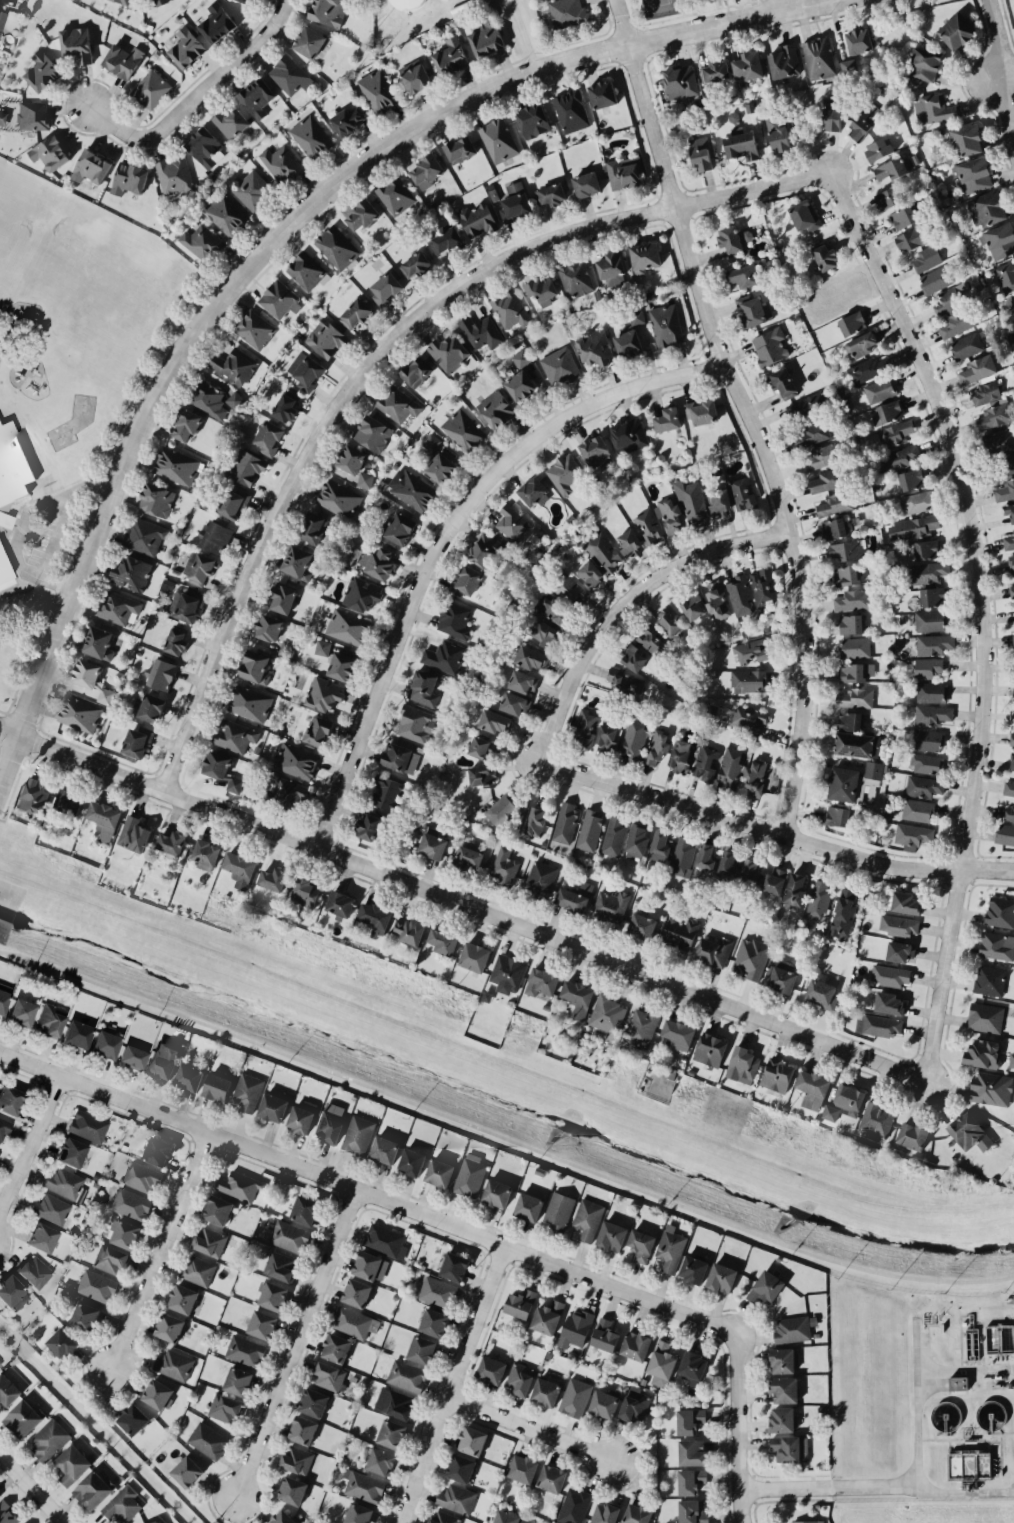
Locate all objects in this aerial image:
building: (10, 1)
building: (123, 1)
building: (244, 1)
building: (159, 2)
building: (407, 4)
road: (782, 4)
building: (329, 11)
building: (566, 12)
building: (2, 19)
building: (216, 22)
road: (619, 22)
building: (956, 30)
road: (520, 34)
building: (486, 36)
building: (859, 40)
building: (309, 41)
building: (77, 43)
building: (186, 47)
building: (450, 56)
building: (819, 58)
building: (122, 60)
building: (784, 61)
building: (924, 64)
building: (748, 65)
building: (848, 66)
building: (715, 70)
building: (42, 71)
road: (1008, 71)
building: (289, 75)
building: (415, 75)
road: (1002, 76)
building: (680, 81)
building: (150, 88)
building: (378, 90)
building: (603, 93)
road: (194, 97)
building: (256, 97)
building: (933, 108)
building: (571, 110)
building: (831, 114)
building: (33, 115)
building: (3, 118)
building: (864, 119)
building: (533, 120)
building: (347, 121)
building: (230, 122)
building: (777, 131)
building: (311, 136)
building: (498, 139)
building: (966, 139)
building: (741, 146)
building: (205, 147)
building: (460, 149)
building: (878, 149)
building: (50, 152)
building: (701, 153)
building: (281, 163)
building: (91, 167)
building: (891, 168)
building: (426, 170)
building: (624, 172)
building: (174, 174)
building: (973, 174)
building: (129, 178)
building: (586, 184)
building: (514, 186)
building: (253, 190)
building: (552, 193)
building: (395, 194)
building: (890, 196)
building: (515, 206)
building: (990, 207)
building: (225, 213)
building: (361, 215)
building: (804, 215)
building: (905, 215)
building: (476, 218)
road: (290, 219)
building: (747, 235)
building: (912, 238)
building: (731, 239)
building: (446, 240)
building: (999, 240)
building: (202, 242)
building: (337, 247)
building: (645, 256)
building: (825, 256)
building: (926, 258)
building: (415, 264)
building: (611, 268)
building: (306, 271)
building: (745, 275)
building: (1006, 275)
building: (576, 278)
building: (937, 278)
building: (386, 287)
building: (542, 289)
building: (949, 298)
building: (279, 299)
building: (1010, 303)
building: (510, 309)
building: (753, 310)
building: (355, 313)
building: (637, 316)
building: (958, 322)
building: (852, 323)
building: (666, 325)
building: (254, 328)
building: (480, 331)
building: (1013, 334)
building: (326, 338)
building: (628, 343)
building: (862, 344)
building: (966, 345)
building: (770, 346)
building: (595, 347)
building: (449, 352)
road: (378, 356)
building: (521, 358)
building: (235, 365)
building: (559, 365)
building: (869, 368)
building: (977, 368)
building: (306, 369)
building: (417, 371)
building: (783, 382)
building: (520, 385)
building: (881, 389)
building: (986, 390)
building: (208, 398)
building: (235, 399)
building: (398, 404)
building: (807, 404)
building: (285, 407)
building: (495, 408)
building: (702, 411)
building: (886, 412)
building: (995, 414)
building: (667, 419)
building: (186, 424)
building: (463, 430)
road: (762, 430)
building: (895, 432)
building: (373, 433)
building: (811, 434)
building: (629, 435)
building: (269, 437)
building: (998, 439)
building: (431, 441)
building: (597, 452)
building: (821, 456)
building: (900, 457)
building: (1007, 463)
building: (355, 464)
building: (176, 465)
building: (439, 466)
building: (11, 468)
building: (246, 468)
building: (565, 473)
building: (911, 479)
building: (828, 480)
building: (413, 490)
building: (534, 491)
building: (1005, 491)
building: (742, 493)
building: (339, 498)
building: (156, 499)
building: (691, 500)
building: (719, 501)
building: (917, 501)
building: (232, 502)
building: (835, 503)
building: (1008, 510)
building: (668, 514)
building: (511, 521)
building: (649, 525)
building: (835, 527)
building: (912, 527)
road: (56, 528)
building: (314, 528)
building: (398, 528)
road: (449, 530)
building: (145, 536)
building: (214, 536)
building: (1008, 540)
building: (629, 543)
building: (485, 549)
building: (926, 549)
building: (846, 550)
building: (604, 551)
building: (297, 560)
building: (378, 561)
building: (1011, 562)
building: (198, 567)
building: (4, 569)
building: (928, 571)
building: (132, 572)
building: (591, 574)
building: (846, 575)
building: (466, 580)
building: (762, 585)
building: (571, 589)
building: (1012, 590)
building: (361, 593)
road: (35, 594)
building: (740, 594)
building: (933, 596)
building: (283, 598)
road: (628, 598)
building: (853, 599)
building: (717, 600)
building: (186, 605)
road: (985, 606)
building: (118, 607)
building: (693, 607)
building: (553, 610)
building: (454, 619)
building: (929, 620)
building: (669, 621)
building: (851, 623)
building: (346, 626)
building: (269, 627)
building: (543, 634)
building: (652, 639)
building: (1013, 639)
building: (177, 641)
building: (98, 642)
building: (934, 643)
building: (322, 647)
building: (855, 647)
building: (752, 650)
building: (444, 656)
building: (531, 657)
building: (632, 657)
building: (255, 666)
building: (342, 666)
building: (927, 667)
building: (856, 671)
building: (162, 673)
building: (91, 678)
building: (750, 679)
building: (622, 680)
building: (523, 681)
building: (424, 687)
building: (1013, 689)
building: (931, 691)
building: (324, 693)
building: (854, 696)
building: (250, 702)
building: (515, 703)
building: (152, 707)
building: (79, 713)
building: (934, 714)
building: (749, 718)
building: (849, 720)
building: (496, 721)
building: (416, 724)
building: (585, 728)
building: (318, 730)
building: (235, 735)
building: (608, 736)
building: (634, 738)
building: (1012, 738)
building: (928, 739)
building: (137, 741)
building: (857, 744)
building: (656, 746)
building: (483, 747)
building: (680, 755)
building: (400, 757)
road: (11, 759)
building: (296, 760)
building: (1012, 761)
building: (705, 762)
building: (927, 763)
building: (217, 764)
building: (730, 766)
building: (874, 769)
building: (481, 775)
building: (755, 777)
building: (235, 784)
building: (924, 786)
building: (1008, 788)
building: (285, 790)
building: (388, 793)
building: (34, 795)
building: (69, 801)
building: (500, 807)
building: (917, 810)
building: (1009, 813)
building: (838, 815)
building: (104, 818)
building: (536, 820)
building: (566, 822)
building: (369, 826)
building: (589, 829)
road: (775, 829)
building: (134, 834)
building: (1005, 834)
building: (912, 835)
building: (613, 836)
building: (172, 841)
building: (637, 842)
building: (433, 843)
building: (660, 845)
building: (206, 854)
building: (682, 856)
building: (706, 856)
building: (468, 857)
building: (504, 866)
building: (239, 868)
building: (750, 872)
building: (540, 877)
building: (274, 878)
building: (774, 881)
building: (795, 890)
building: (305, 892)
building: (574, 896)
road: (461, 900)
building: (819, 900)
building: (340, 903)
building: (906, 903)
building: (610, 905)
building: (1000, 911)
building: (844, 912)
building: (374, 918)
building: (642, 924)
building: (899, 925)
building: (410, 931)
building: (680, 933)
building: (443, 941)
building: (997, 945)
building: (714, 950)
building: (901, 950)
building: (474, 956)
building: (751, 957)
building: (508, 973)
building: (783, 975)
building: (891, 975)
building: (990, 980)
building: (541, 981)
building: (821, 993)
building: (578, 996)
building: (4, 997)
building: (889, 1003)
building: (22, 1012)
building: (607, 1013)
building: (985, 1017)
building: (51, 1019)
building: (879, 1024)
building: (641, 1027)
building: (678, 1033)
building: (77, 1034)
building: (106, 1043)
building: (710, 1049)
building: (983, 1053)
building: (132, 1057)
building: (1011, 1059)
building: (163, 1060)
building: (742, 1064)
building: (777, 1075)
building: (189, 1076)
building: (217, 1086)
building: (812, 1088)
building: (991, 1088)
building: (247, 1091)
building: (10, 1100)
building: (844, 1102)
river: (503, 1103)
building: (273, 1107)
building: (302, 1116)
building: (876, 1120)
building: (330, 1124)
building: (88, 1126)
building: (4, 1128)
building: (969, 1132)
building: (358, 1134)
building: (912, 1135)
road: (502, 1137)
road: (30, 1144)
building: (384, 1149)
building: (157, 1151)
building: (72, 1152)
building: (412, 1161)
building: (440, 1172)
building: (141, 1175)
building: (470, 1175)
building: (66, 1184)
building: (240, 1185)
road: (369, 1192)
building: (497, 1192)
building: (131, 1203)
building: (529, 1206)
building: (51, 1209)
building: (218, 1209)
building: (305, 1209)
building: (559, 1210)
building: (588, 1218)
building: (124, 1233)
building: (612, 1235)
building: (290, 1236)
building: (43, 1237)
building: (385, 1240)
building: (210, 1241)
building: (641, 1244)
building: (670, 1247)
road: (158, 1251)
building: (111, 1259)
building: (280, 1265)
building: (370, 1265)
building: (454, 1266)
building: (693, 1268)
building: (198, 1270)
building: (34, 1272)
building: (721, 1277)
building: (97, 1285)
building: (766, 1286)
building: (357, 1292)
building: (438, 1292)
building: (13, 1293)
building: (272, 1295)
building: (183, 1298)
building: (520, 1302)
building: (85, 1315)
building: (548, 1316)
building: (354, 1322)
building: (434, 1322)
building: (262, 1324)
building: (169, 1326)
building: (575, 1328)
building: (792, 1329)
building: (605, 1334)
road: (297, 1340)
building: (62, 1342)
building: (636, 1344)
building: (336, 1347)
building: (422, 1349)
building: (245, 1350)
building: (783, 1360)
building: (661, 1363)
building: (0, 1364)
building: (175, 1364)
building: (692, 1367)
road: (968, 1367)
building: (491, 1369)
building: (407, 1375)
building: (329, 1376)
building: (519, 1378)
building: (238, 1380)
building: (958, 1382)
road: (454, 1384)
building: (784, 1389)
building: (8, 1390)
building: (545, 1391)
building: (158, 1394)
building: (575, 1397)
wastewater plant: (956, 1401)
building: (314, 1402)
building: (394, 1402)
building: (604, 1404)
building: (634, 1404)
road: (923, 1406)
building: (224, 1408)
building: (23, 1418)
building: (133, 1418)
building: (782, 1419)
building: (689, 1420)
road: (534, 1428)
road: (742, 1428)
building: (303, 1429)
building: (391, 1433)
building: (49, 1439)
building: (208, 1440)
building: (472, 1440)
building: (790, 1448)
building: (692, 1451)
building: (296, 1459)
building: (381, 1461)
building: (970, 1463)
building: (72, 1464)
building: (461, 1467)
building: (523, 1468)
building: (187, 1471)
building: (552, 1478)
building: (690, 1480)
road: (880, 1485)
building: (364, 1486)
road: (32, 1489)
building: (92, 1489)
building: (292, 1490)
building: (457, 1498)
building: (122, 1503)
building: (574, 1505)
building: (692, 1511)
building: (8, 1513)
building: (359, 1513)
building: (604, 1513)
building: (637, 1514)
building: (282, 1517)
building: (444, 1517)
building: (510, 1518)
building: (154, 1521)
building: (806, 1521)

